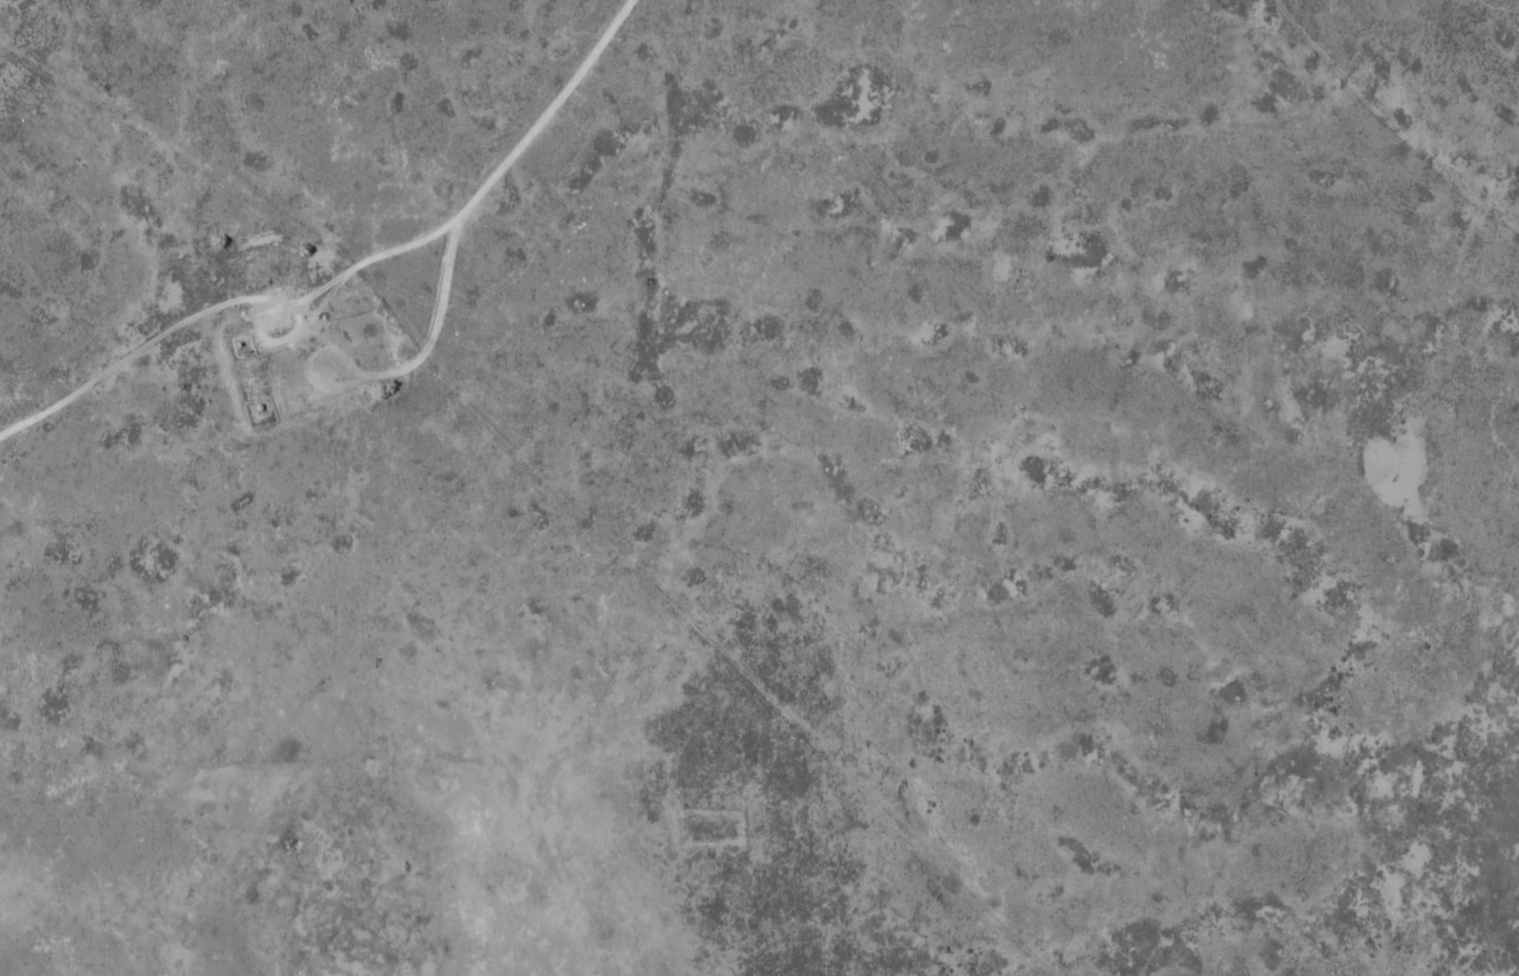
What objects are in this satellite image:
road: (1390, 432)
road: (1511, 883)

